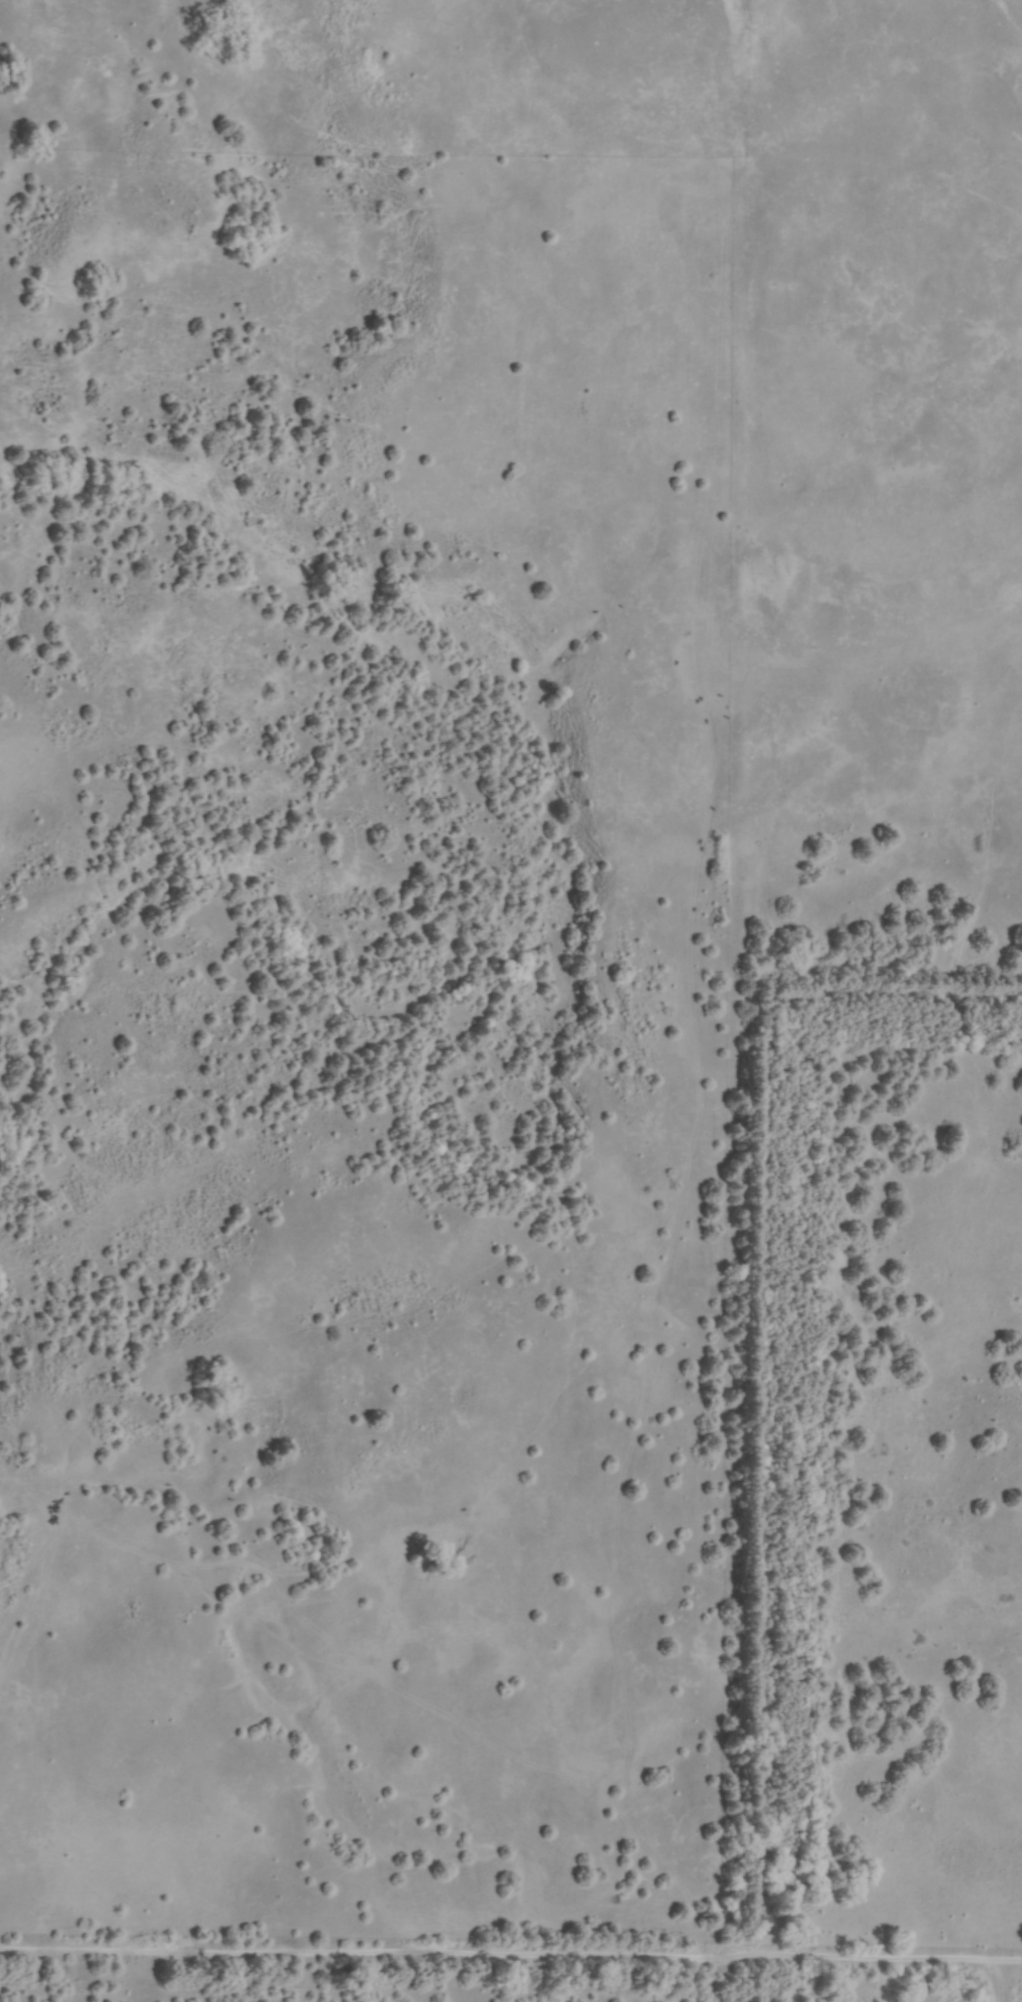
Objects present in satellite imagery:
road: (510, 1958)

